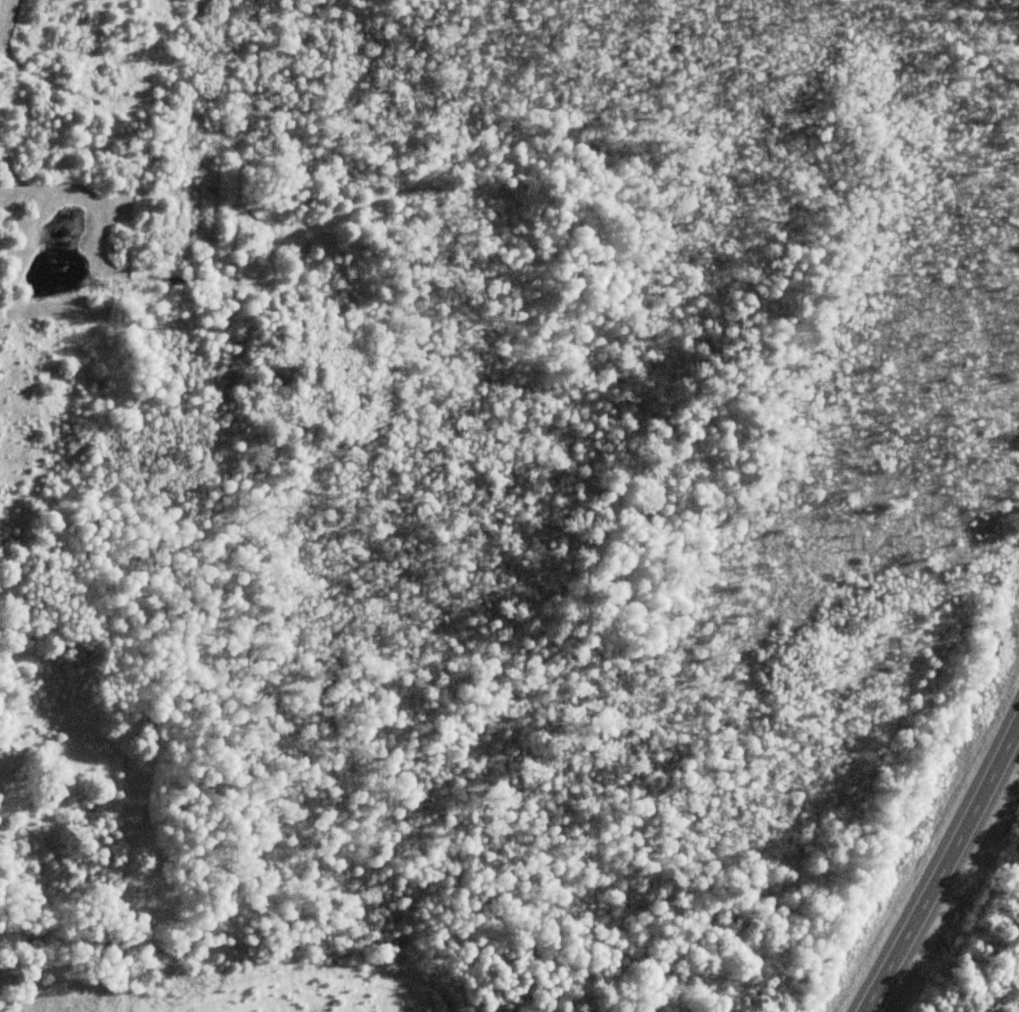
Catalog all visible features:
road: (941, 865)

